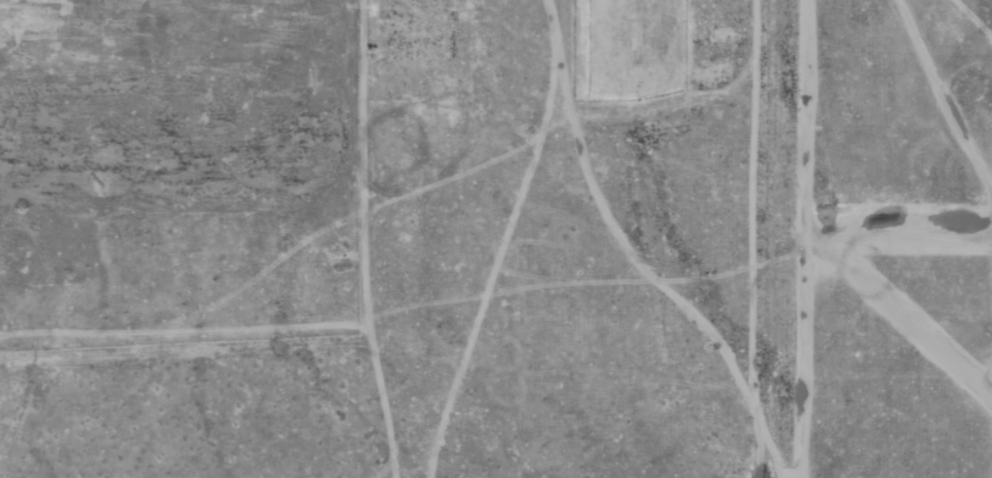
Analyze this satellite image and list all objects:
road: (800, 239)

